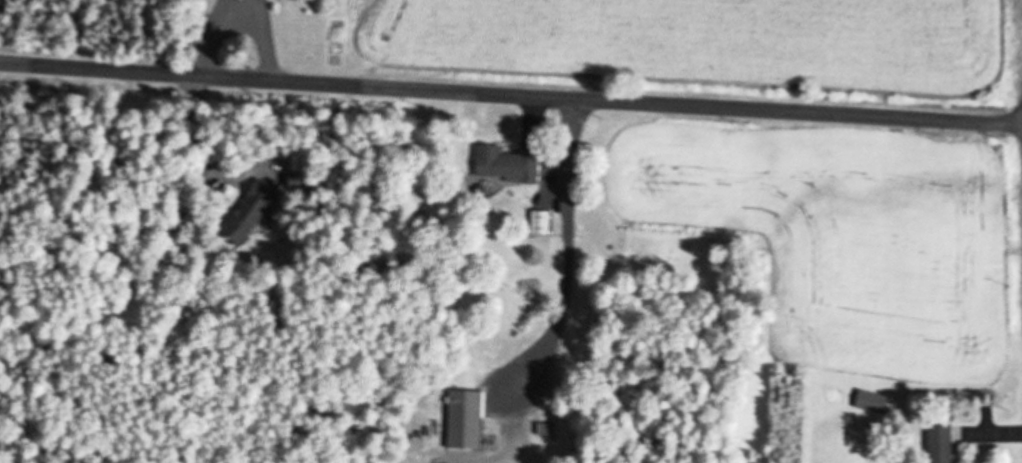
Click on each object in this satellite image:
road: (510, 97)
building: (502, 164)
building: (248, 211)
building: (537, 222)
building: (869, 401)
building: (463, 419)
building: (544, 429)
building: (937, 443)

